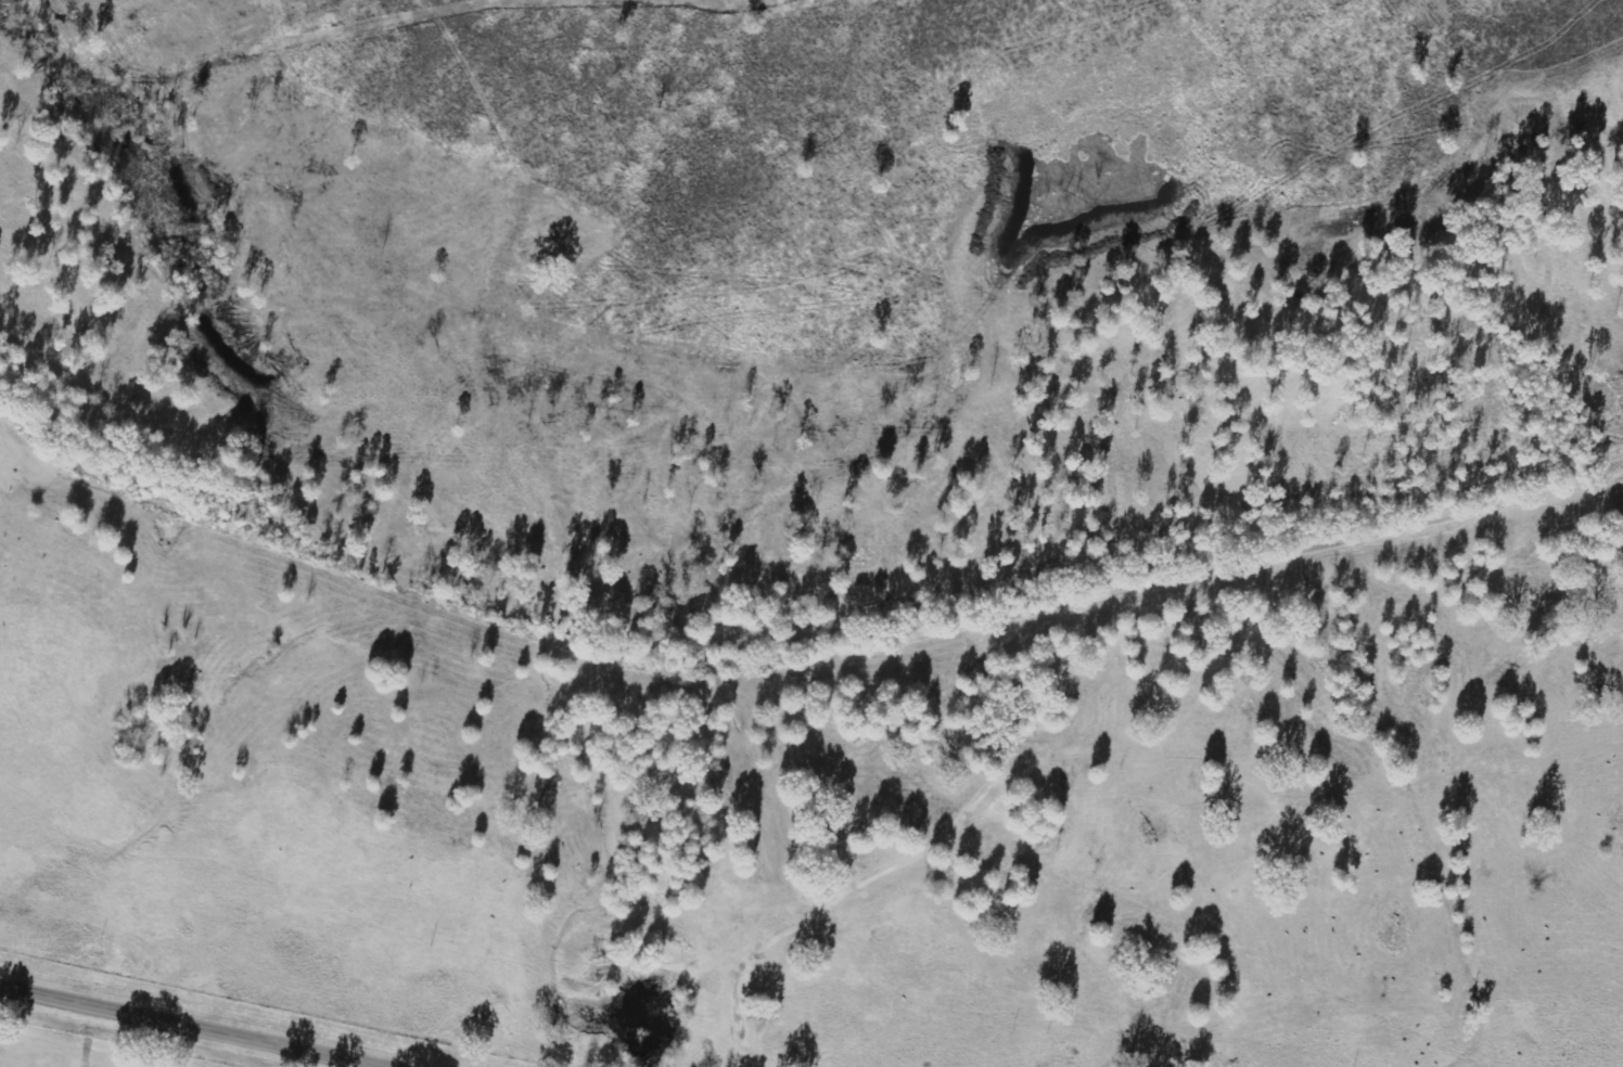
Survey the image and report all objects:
road: (188, 1026)

